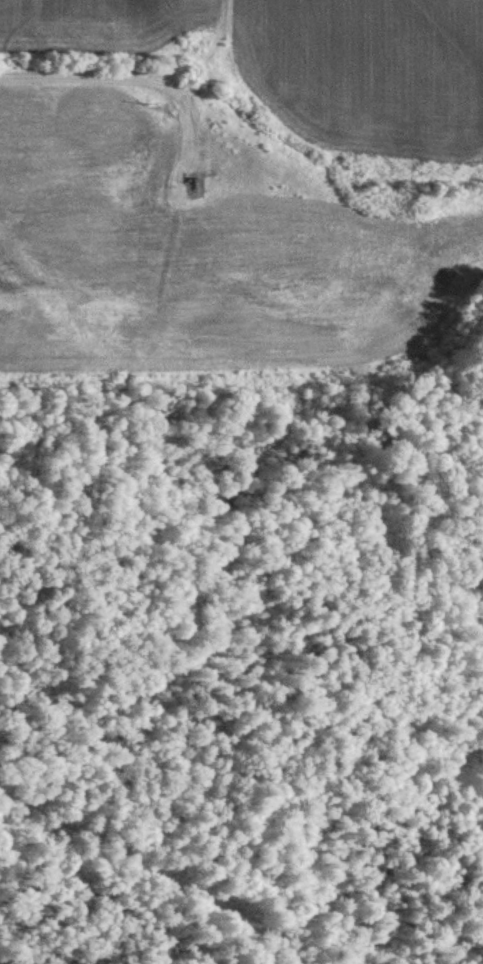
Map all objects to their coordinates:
petroleum well: (195, 180)

